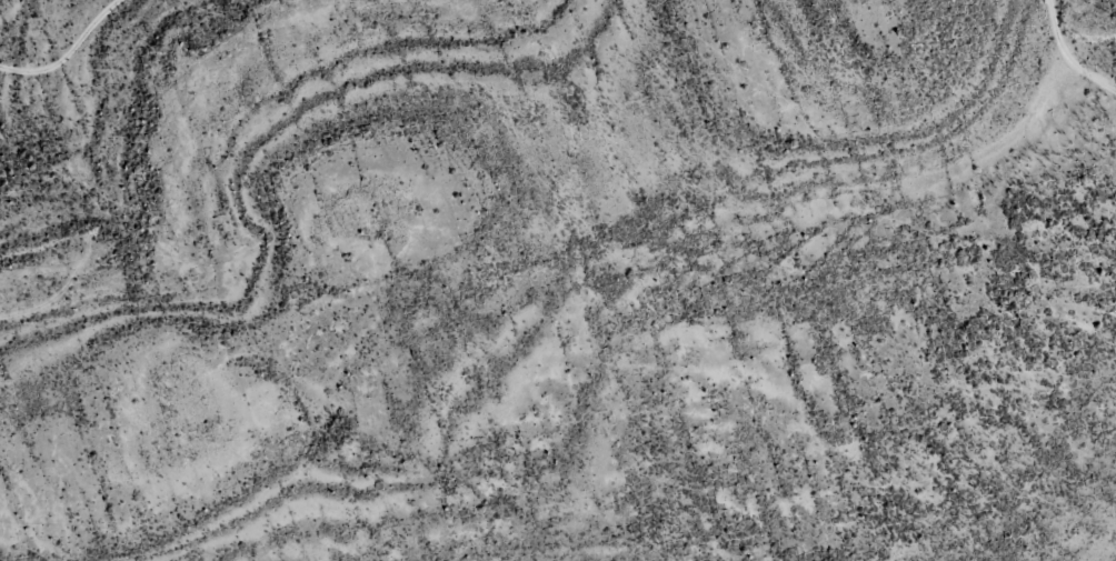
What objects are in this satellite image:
road: (1065, 30)

